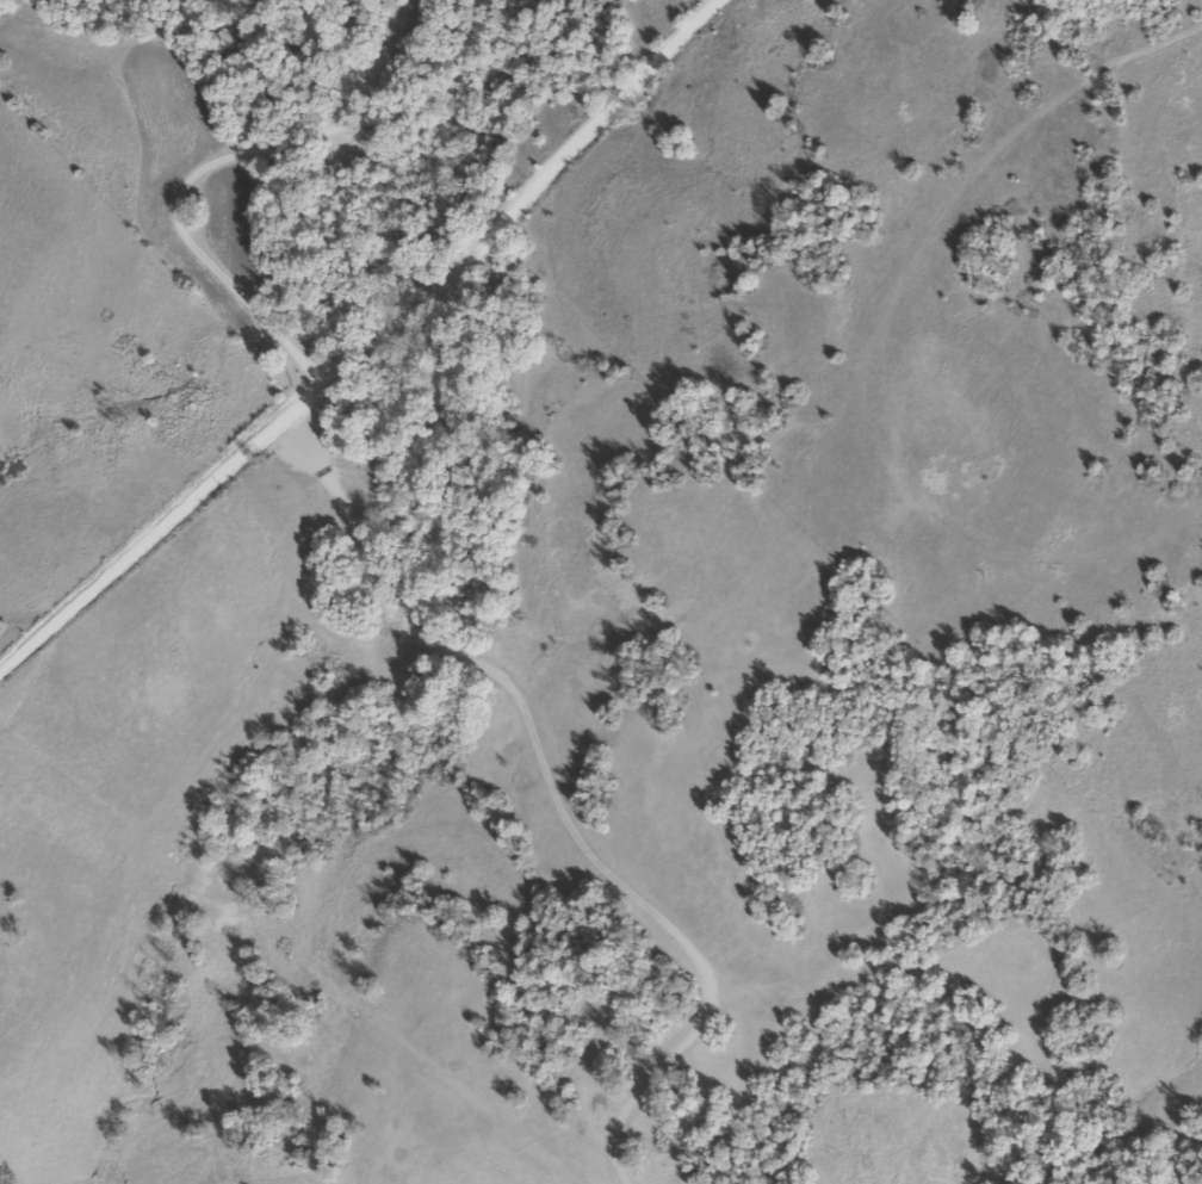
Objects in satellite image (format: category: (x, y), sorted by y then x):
road: (354, 330)
road: (556, 798)

